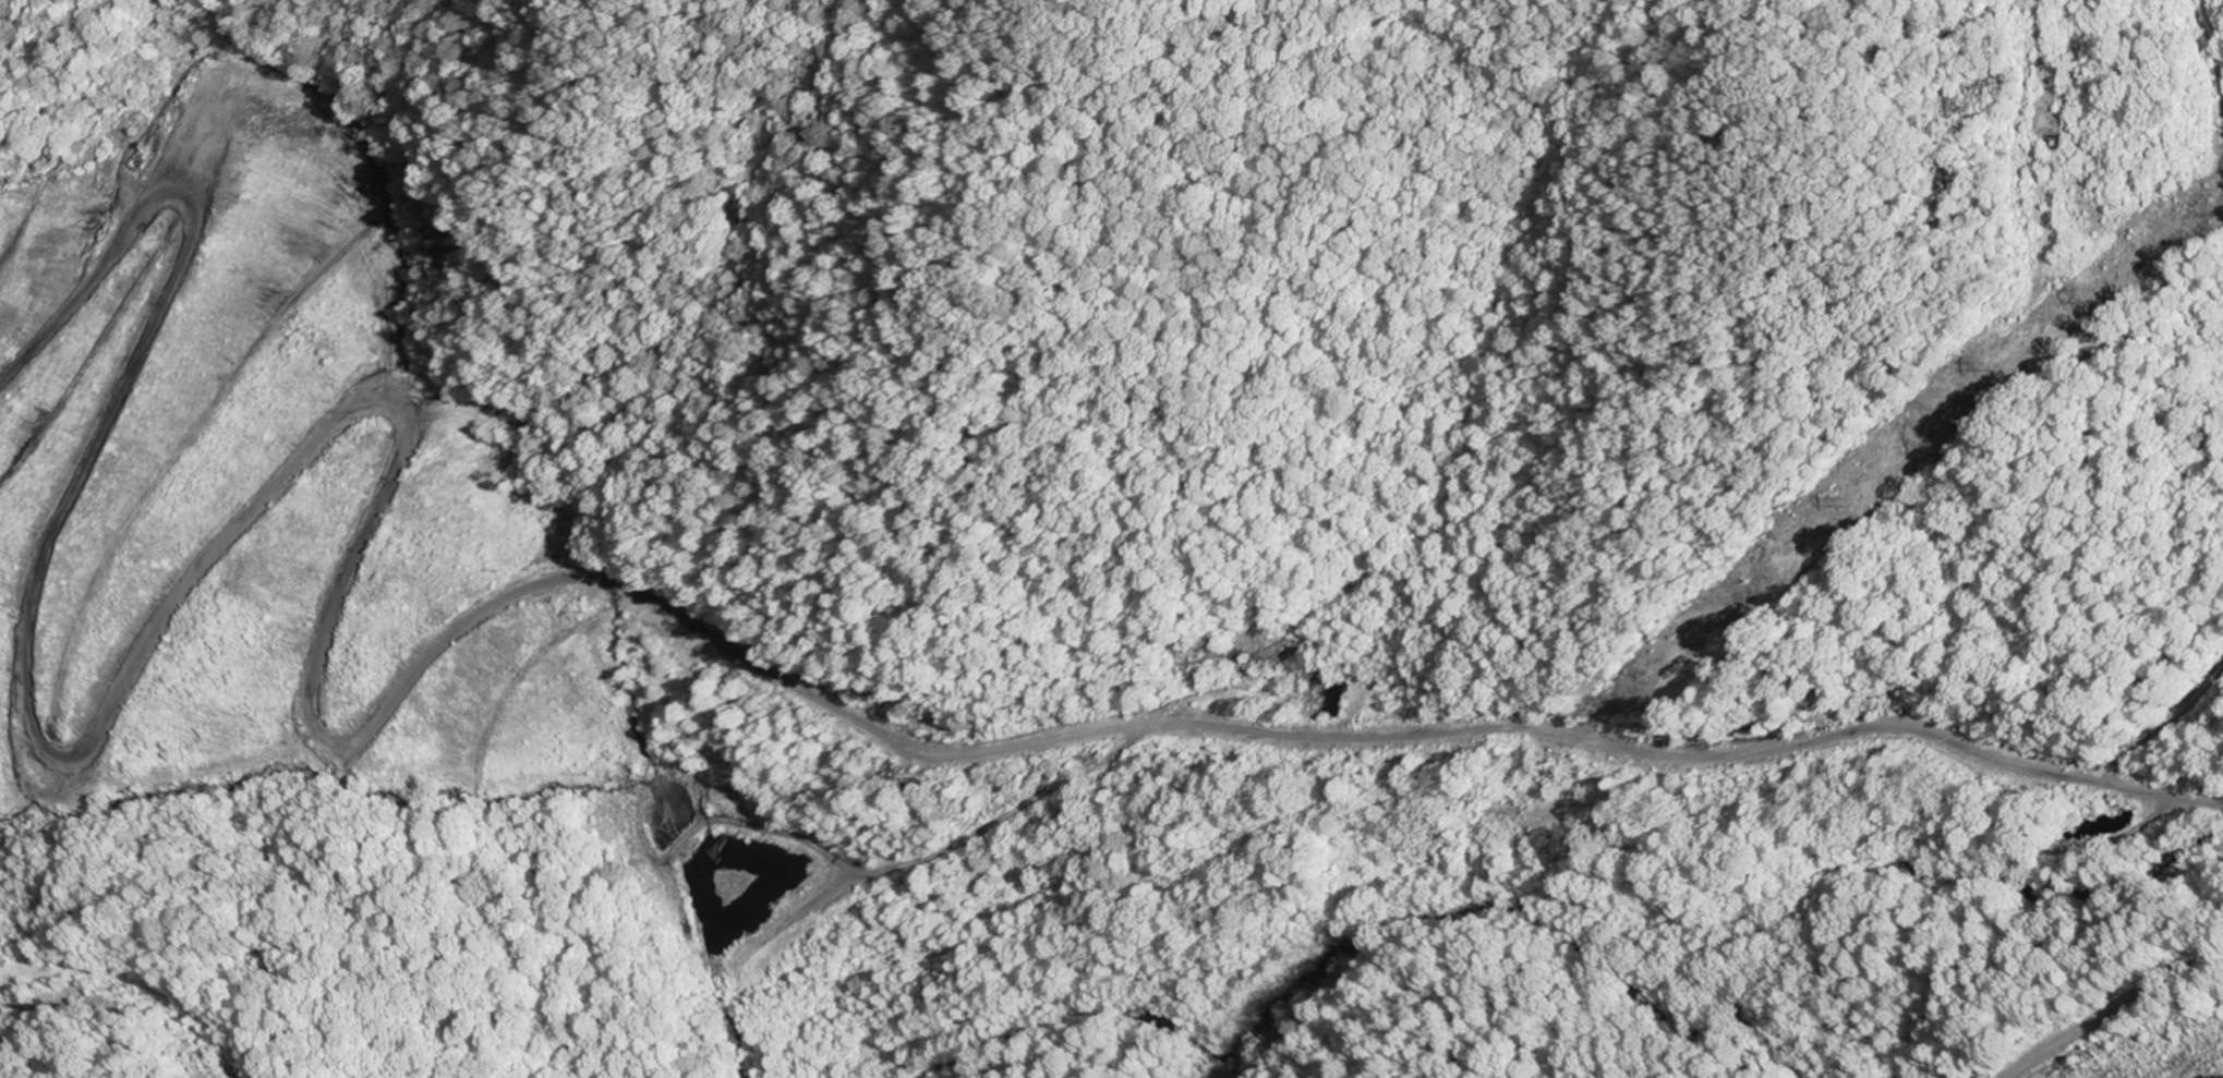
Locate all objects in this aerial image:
road: (2113, 1015)
power tower: (2104, 1074)

